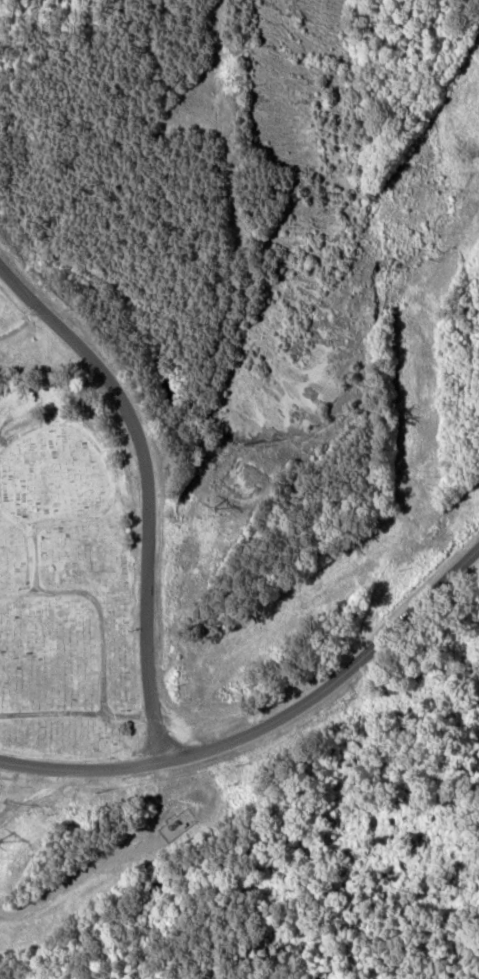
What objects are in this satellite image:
road: (151, 483)
power tower: (219, 507)
road: (267, 723)
power tower: (2, 841)

